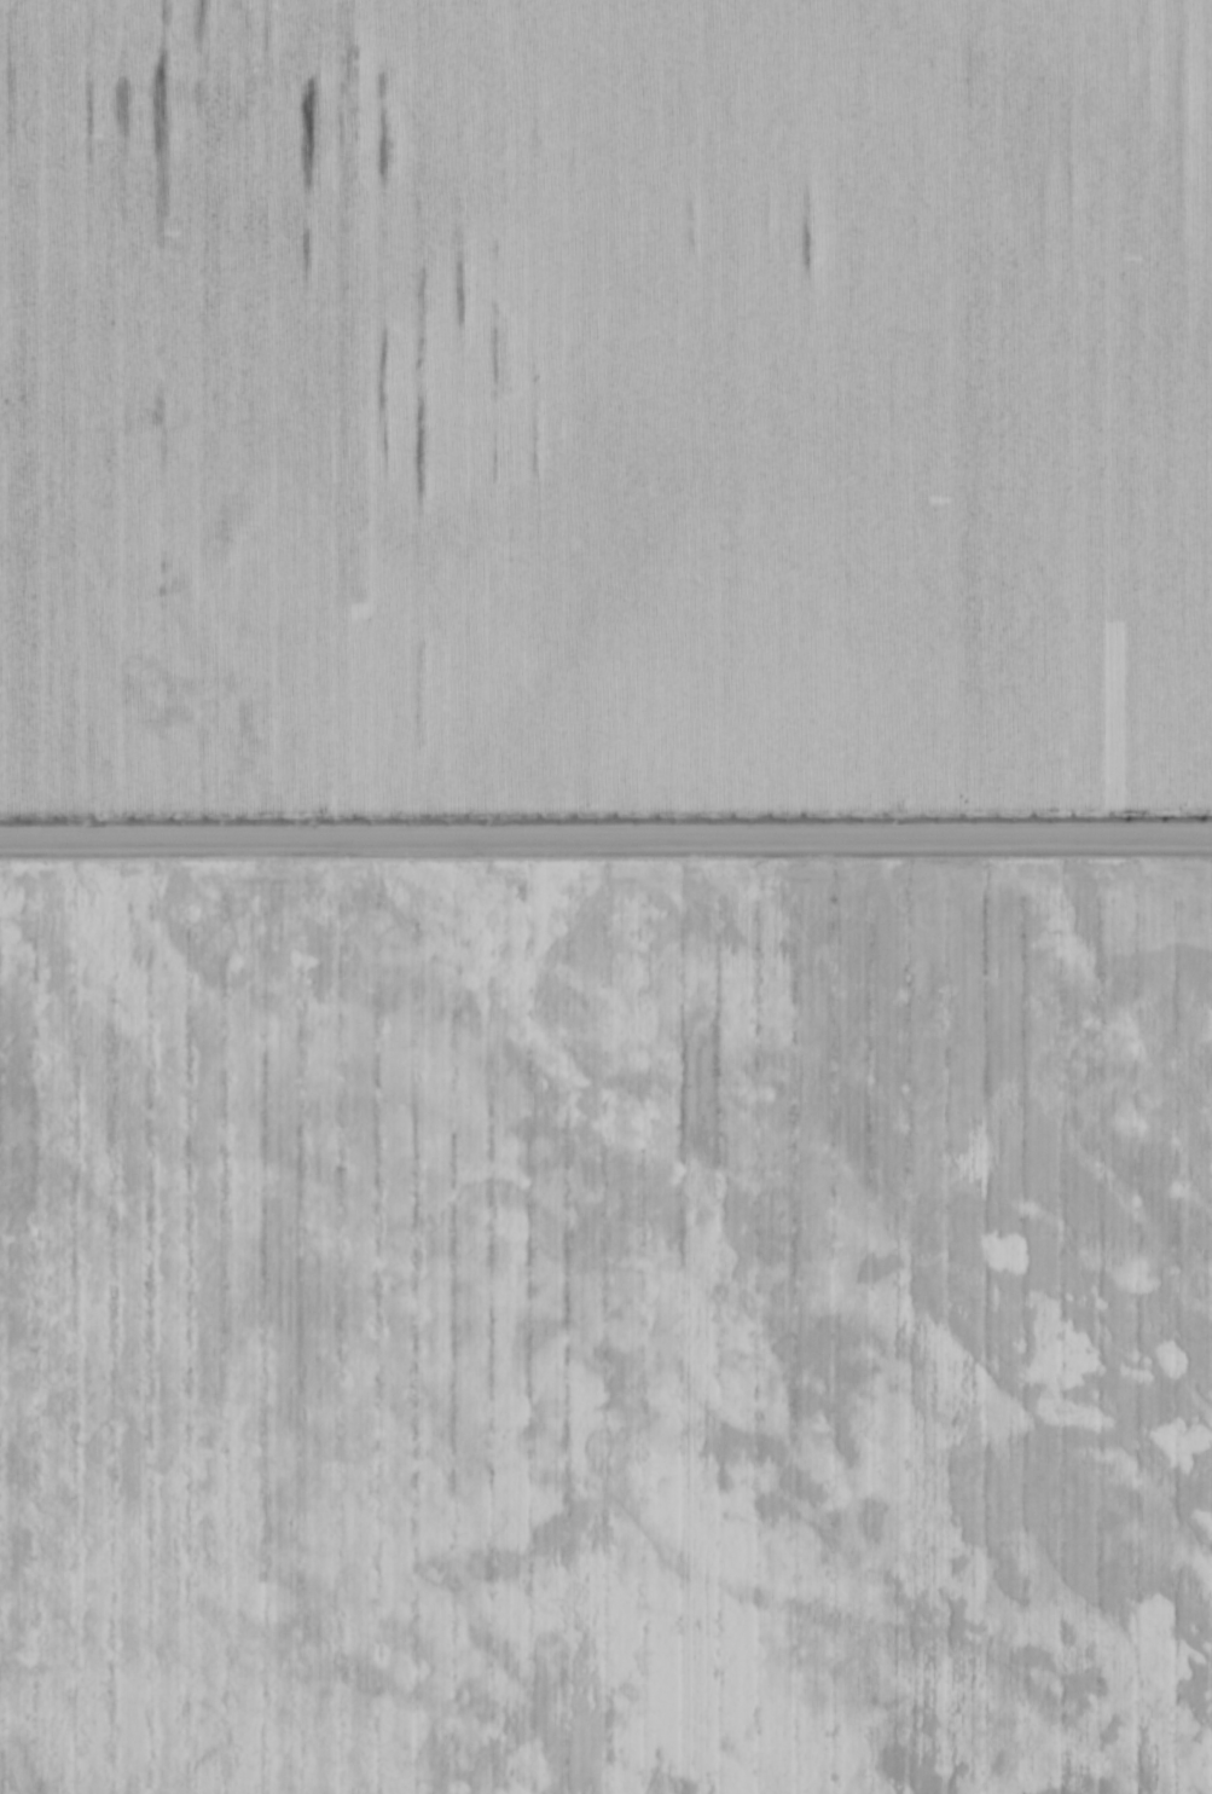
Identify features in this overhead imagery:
road: (605, 833)

